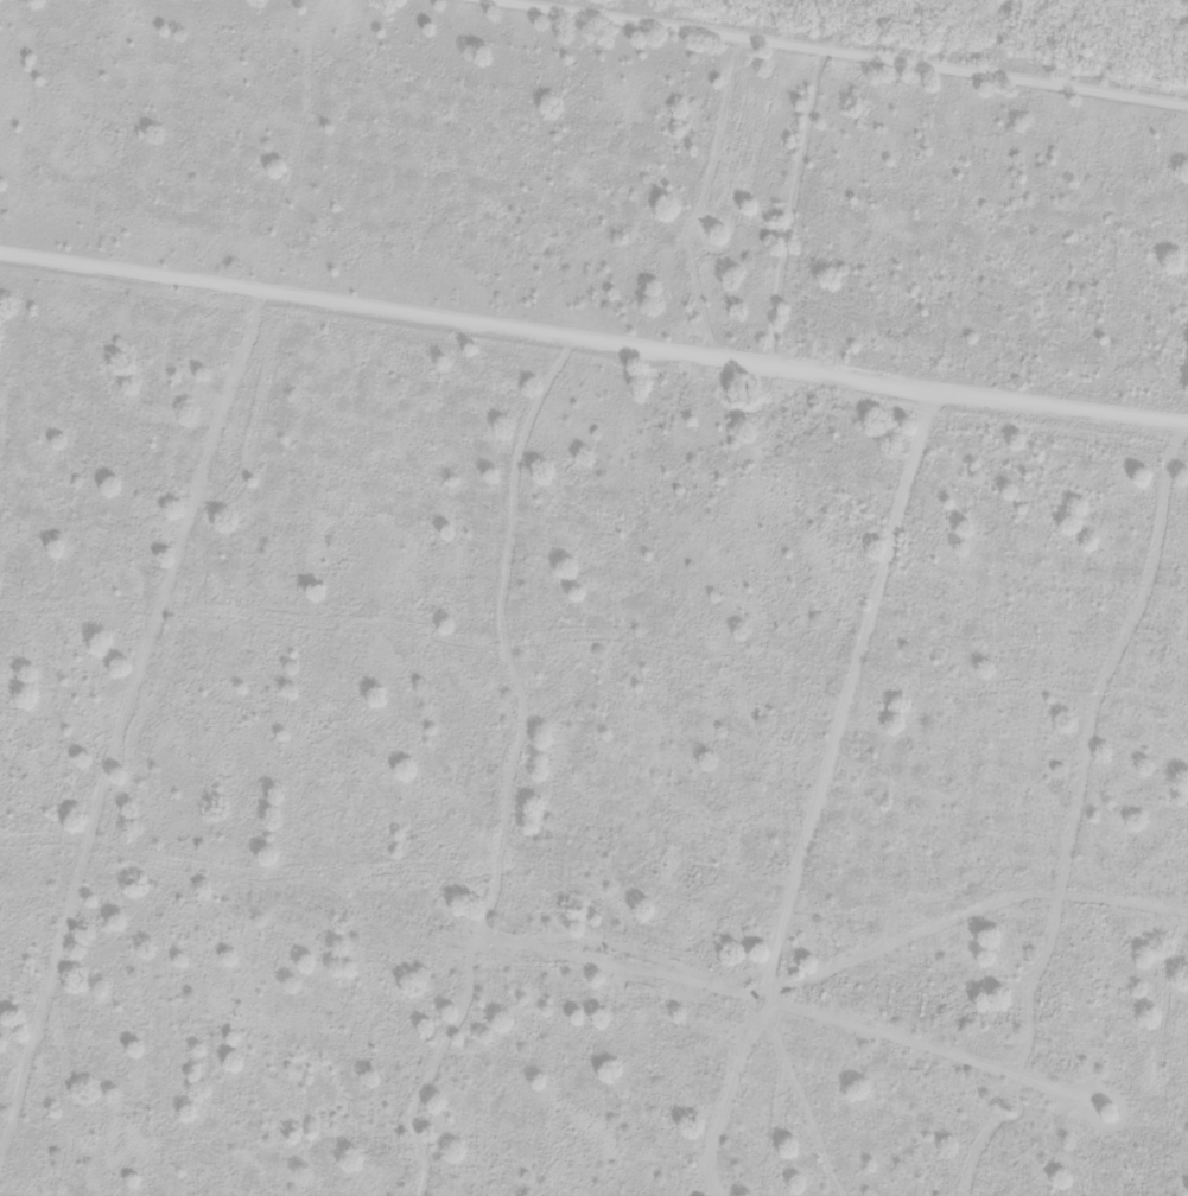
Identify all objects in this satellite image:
road: (957, 32)

